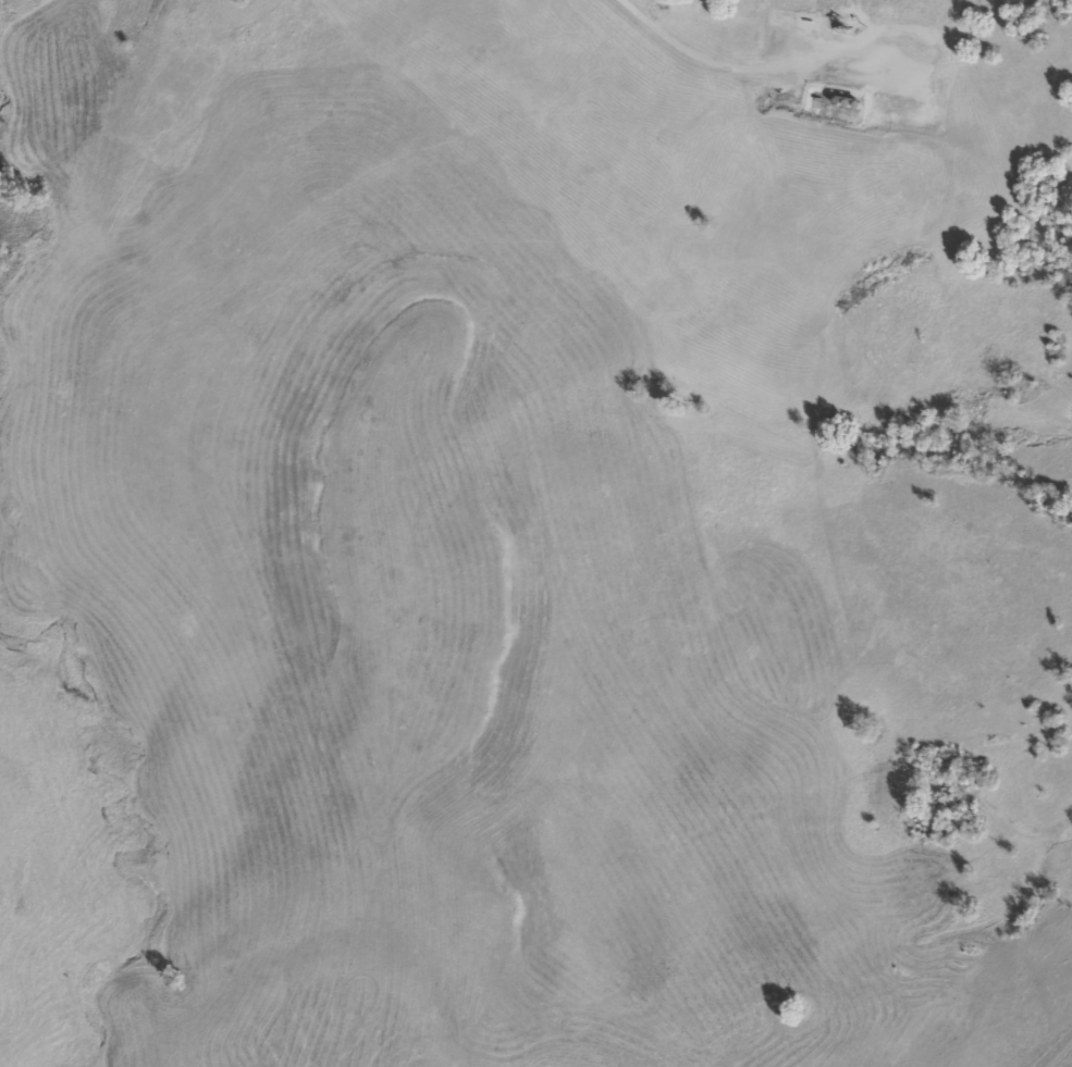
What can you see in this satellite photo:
road: (724, 80)

